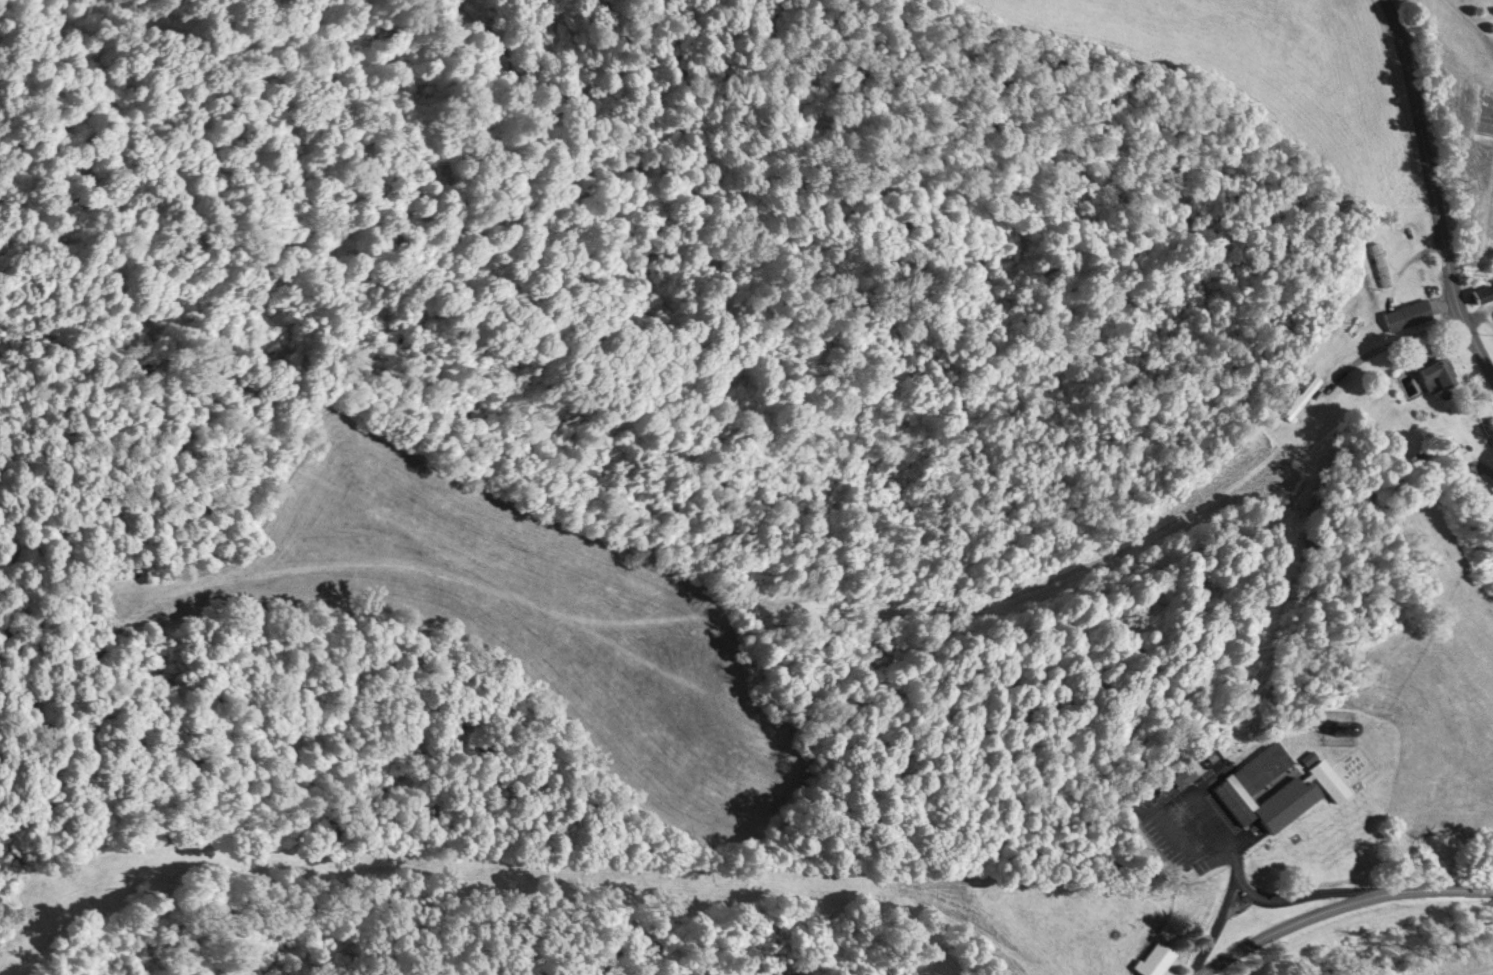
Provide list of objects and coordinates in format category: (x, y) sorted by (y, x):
road: (1468, 23)
road: (1432, 188)
building: (1380, 265)
building: (1480, 294)
building: (1408, 316)
building: (1433, 376)
building: (1303, 398)
building: (1308, 757)
building: (1259, 770)
building: (1183, 777)
building: (1298, 795)
road: (1226, 837)
road: (1309, 890)
road: (1342, 906)
road: (1213, 924)
building: (1154, 960)

